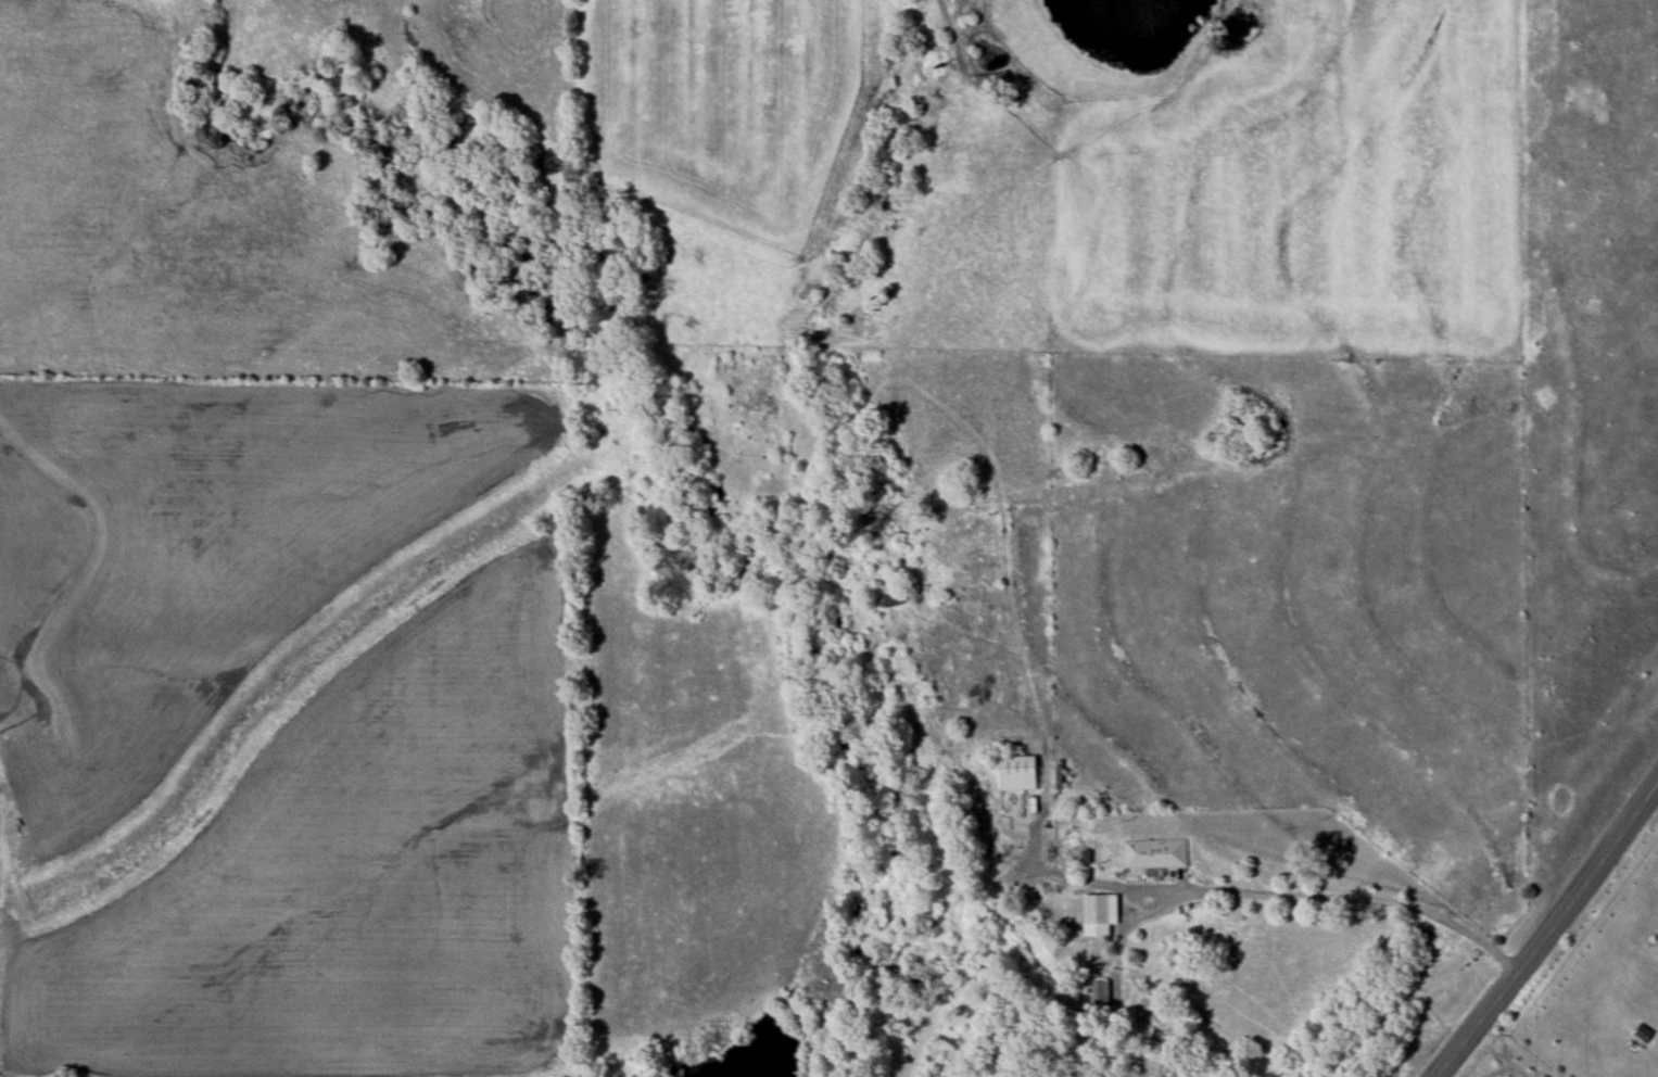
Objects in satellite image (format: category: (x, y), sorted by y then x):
building: (1016, 772)
building: (1154, 853)
road: (1286, 894)
building: (1099, 914)
road: (1547, 933)
building: (1100, 994)

